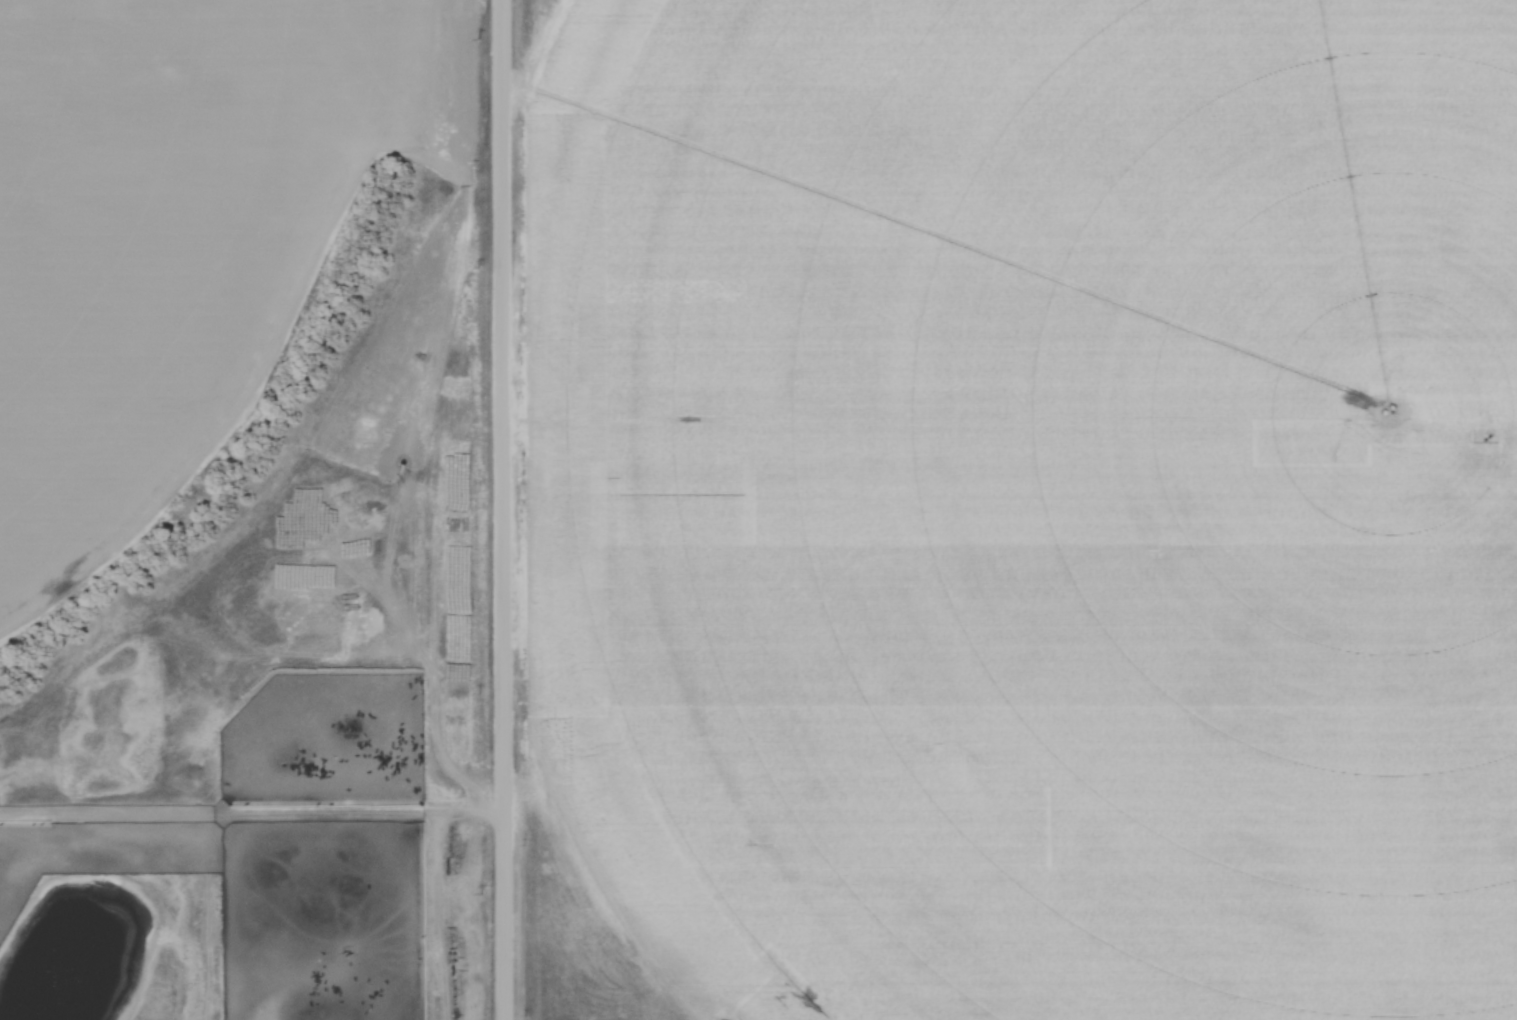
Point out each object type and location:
road: (504, 510)

